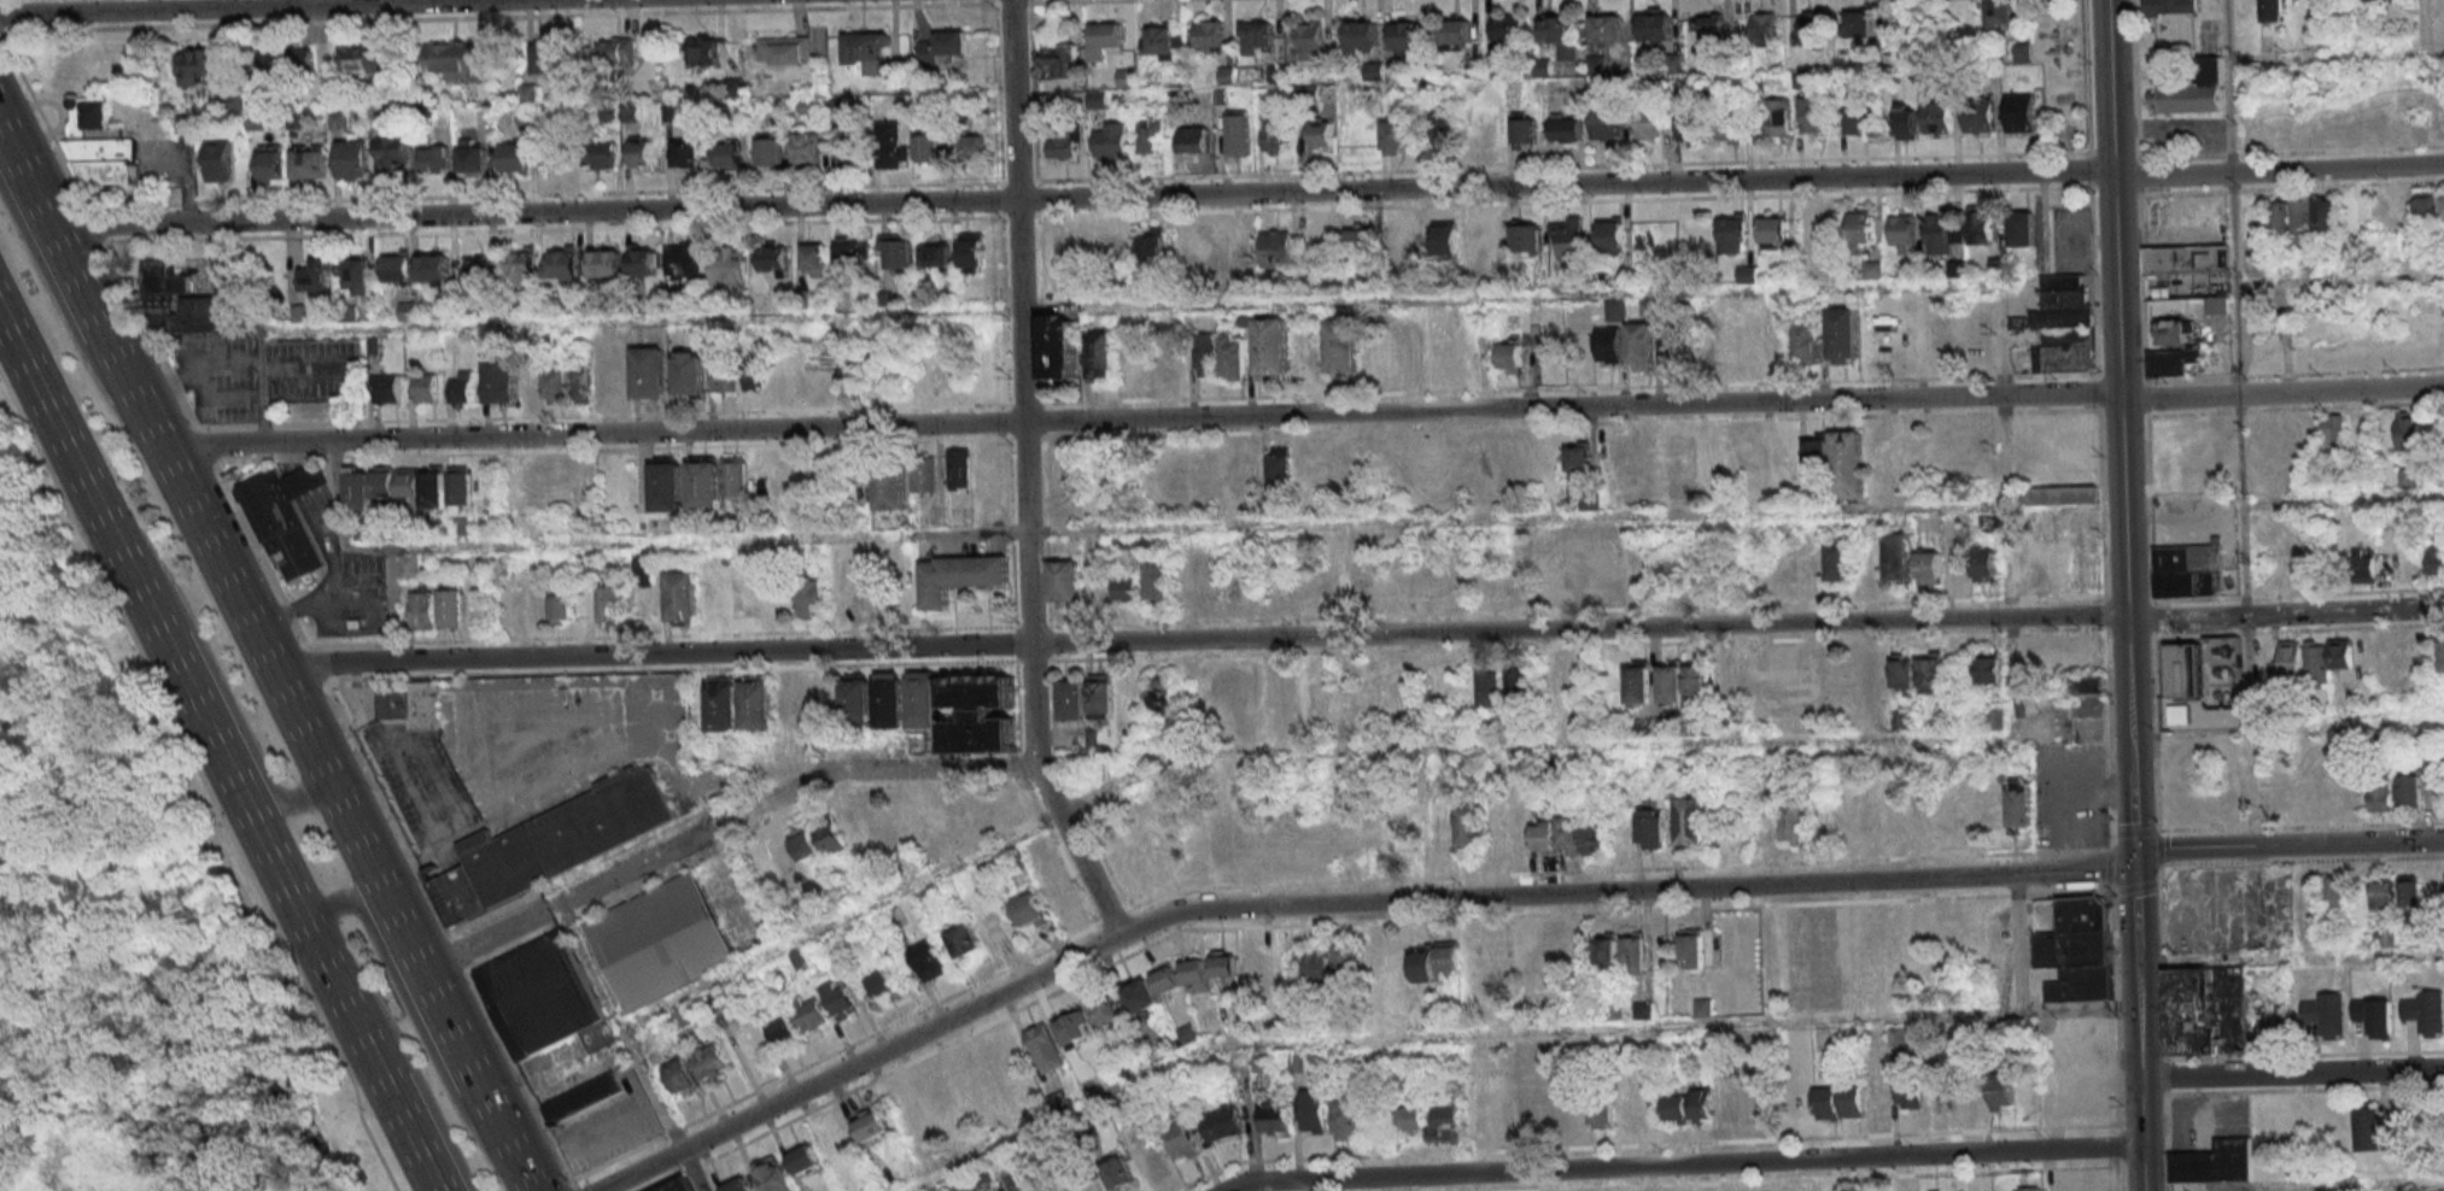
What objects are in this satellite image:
road: (238, 6)
building: (2171, 6)
building: (2270, 10)
building: (2000, 13)
building: (1707, 25)
building: (1859, 25)
building: (1508, 27)
building: (1606, 28)
building: (1655, 28)
building: (1811, 28)
building: (1765, 29)
building: (1456, 33)
building: (1557, 34)
building: (1106, 35)
building: (1404, 35)
building: (1209, 36)
building: (1256, 37)
building: (1362, 37)
road: (1, 40)
building: (1164, 40)
building: (1306, 41)
building: (865, 46)
building: (943, 48)
building: (783, 49)
building: (616, 51)
building: (703, 53)
building: (2022, 53)
building: (312, 55)
road: (2335, 55)
building: (546, 57)
building: (362, 58)
building: (454, 61)
building: (1058, 61)
building: (197, 65)
building: (1226, 75)
building: (2193, 92)
building: (812, 105)
building: (2019, 112)
building: (1816, 115)
building: (1980, 116)
building: (1937, 117)
building: (1779, 119)
building: (1907, 121)
building: (1857, 122)
building: (1647, 124)
building: (1607, 125)
building: (1442, 127)
building: (1727, 128)
building: (1690, 129)
building: (1481, 130)
building: (1567, 130)
building: (1525, 131)
building: (1235, 133)
building: (1274, 135)
building: (1321, 135)
building: (1147, 136)
building: (1396, 136)
building: (1358, 137)
building: (1193, 140)
building: (1111, 142)
building: (100, 146)
building: (890, 146)
building: (928, 146)
building: (1063, 146)
building: (971, 147)
building: (806, 148)
building: (770, 152)
building: (688, 153)
building: (850, 153)
building: (597, 154)
building: (643, 154)
building: (726, 154)
building: (392, 156)
building: (433, 156)
building: (475, 156)
building: (516, 156)
building: (352, 158)
building: (220, 160)
building: (310, 162)
building: (273, 164)
road: (2278, 169)
road: (1081, 195)
building: (2427, 206)
building: (2443, 207)
building: (2327, 215)
building: (2292, 219)
building: (1860, 224)
building: (1981, 224)
building: (1813, 225)
building: (1733, 229)
building: (2022, 229)
building: (1772, 231)
road: (99, 233)
building: (1901, 233)
building: (1945, 233)
building: (1612, 234)
building: (1361, 236)
building: (1567, 237)
building: (1323, 239)
building: (1405, 239)
building: (1527, 239)
building: (1486, 240)
building: (1445, 241)
building: (1194, 244)
building: (1277, 244)
building: (1111, 246)
building: (1151, 246)
building: (1239, 246)
building: (972, 252)
building: (899, 256)
building: (935, 256)
building: (849, 258)
building: (813, 259)
building: (686, 260)
building: (772, 260)
building: (643, 262)
building: (607, 263)
building: (2188, 264)
building: (562, 265)
building: (521, 266)
building: (396, 268)
building: (435, 268)
building: (730, 268)
building: (474, 272)
building: (356, 274)
building: (316, 275)
road: (2340, 281)
road: (245, 288)
building: (186, 300)
building: (2211, 305)
road: (1125, 307)
building: (1615, 310)
road: (68, 325)
building: (2063, 325)
building: (2173, 332)
building: (1843, 336)
building: (1674, 342)
building: (1743, 342)
building: (1807, 342)
building: (1608, 344)
building: (1059, 346)
building: (1641, 346)
building: (1341, 347)
building: (1270, 348)
building: (1100, 354)
building: (1204, 354)
building: (1234, 356)
building: (1379, 358)
building: (1510, 358)
building: (1309, 359)
building: (2175, 363)
building: (1135, 366)
road: (194, 369)
building: (647, 372)
building: (686, 372)
building: (609, 374)
building: (499, 377)
building: (724, 377)
building: (754, 379)
road: (2120, 385)
building: (531, 386)
building: (554, 386)
building: (423, 388)
building: (462, 388)
building: (388, 389)
road: (2281, 391)
road: (259, 401)
road: (1226, 417)
road: (2238, 424)
building: (2408, 432)
building: (2334, 434)
road: (246, 442)
road: (206, 445)
building: (1817, 452)
building: (1578, 456)
building: (1718, 459)
building: (1613, 462)
building: (1848, 462)
building: (1277, 465)
building: (1680, 467)
building: (958, 468)
building: (923, 474)
road: (1025, 477)
building: (2409, 479)
building: (397, 482)
building: (665, 486)
building: (702, 486)
building: (446, 487)
building: (358, 488)
building: (889, 489)
building: (2064, 494)
road: (2343, 495)
building: (1620, 498)
building: (1589, 499)
park: (23, 500)
road: (2007, 509)
building: (282, 516)
road: (1142, 532)
road: (43, 553)
building: (1898, 556)
building: (1838, 558)
building: (1957, 558)
building: (2436, 558)
building: (1986, 564)
building: (1813, 565)
building: (1929, 567)
building: (409, 568)
building: (1574, 569)
building: (2364, 569)
building: (2188, 570)
building: (2060, 571)
building: (958, 576)
building: (1608, 576)
building: (1159, 580)
building: (1364, 580)
building: (1064, 582)
building: (1128, 585)
building: (684, 595)
building: (867, 595)
road: (2150, 595)
building: (809, 599)
building: (612, 605)
building: (460, 608)
building: (422, 609)
building: (562, 609)
road: (2285, 611)
road: (163, 640)
road: (1198, 640)
road: (265, 657)
building: (2442, 657)
building: (2291, 658)
building: (2326, 658)
building: (1989, 668)
building: (1904, 670)
building: (2185, 670)
building: (1930, 671)
building: (1784, 673)
road: (216, 677)
building: (1873, 679)
building: (1520, 681)
building: (1671, 681)
building: (1638, 682)
building: (2091, 685)
building: (1221, 686)
building: (1697, 686)
building: (1277, 687)
building: (1491, 687)
building: (1253, 691)
building: (1162, 693)
building: (923, 699)
building: (1086, 699)
building: (890, 700)
building: (411, 703)
building: (807, 703)
building: (723, 705)
building: (980, 714)
building: (1994, 720)
road: (2345, 722)
road: (1285, 747)
building: (2428, 762)
road: (876, 769)
road: (204, 781)
building: (2409, 792)
building: (2304, 797)
building: (2331, 797)
building: (2380, 797)
building: (2021, 804)
building: (1919, 810)
road: (2132, 814)
building: (1691, 819)
building: (1895, 821)
building: (850, 822)
building: (1795, 823)
building: (1471, 825)
road: (397, 826)
building: (881, 827)
building: (1445, 827)
building: (1653, 828)
building: (1396, 829)
building: (1521, 831)
building: (1771, 831)
building: (830, 835)
building: (1222, 835)
building: (1258, 838)
building: (1596, 838)
building: (1197, 845)
building: (549, 846)
road: (2288, 849)
building: (793, 853)
building: (1154, 855)
traffic signals: (2134, 857)
building: (1130, 866)
building: (976, 874)
building: (2334, 890)
building: (2410, 890)
building: (2382, 894)
building: (1062, 897)
road: (557, 903)
road: (1381, 903)
road: (2135, 903)
building: (1029, 911)
building: (990, 925)
park: (130, 929)
building: (963, 939)
building: (656, 941)
building: (1847, 941)
building: (1695, 946)
building: (890, 950)
building: (1637, 950)
building: (1607, 951)
building: (2078, 951)
building: (1449, 956)
road: (2290, 957)
building: (929, 961)
building: (1498, 962)
building: (1224, 963)
building: (1349, 963)
building: (1375, 963)
building: (1423, 963)
building: (1317, 964)
building: (1251, 967)
building: (1195, 974)
building: (1167, 980)
building: (883, 982)
building: (1140, 995)
road: (402, 996)
building: (544, 998)
building: (842, 998)
road: (2019, 999)
building: (2208, 1008)
building: (1647, 1009)
building: (2426, 1011)
building: (1106, 1013)
building: (809, 1014)
building: (2327, 1014)
building: (2374, 1016)
building: (1074, 1028)
building: (784, 1029)
road: (1449, 1033)
building: (749, 1040)
road: (630, 1046)
building: (1045, 1049)
building: (1005, 1057)
building: (701, 1067)
road: (2139, 1069)
road: (413, 1072)
road: (2292, 1074)
road: (381, 1079)
building: (2002, 1091)
building: (939, 1093)
building: (1908, 1095)
building: (1937, 1095)
building: (584, 1099)
building: (1877, 1099)
building: (1852, 1101)
building: (1828, 1103)
building: (1703, 1104)
building: (1760, 1104)
building: (1727, 1105)
building: (1678, 1108)
building: (1314, 1110)
building: (1629, 1110)
building: (1503, 1113)
building: (1527, 1114)
building: (1579, 1114)
building: (1603, 1115)
building: (1273, 1116)
building: (1449, 1116)
building: (1347, 1119)
building: (1413, 1119)
building: (1222, 1122)
building: (870, 1125)
building: (2370, 1127)
building: (1179, 1139)
building: (806, 1158)
building: (2215, 1160)
building: (1151, 1162)
road: (1684, 1164)
road: (638, 1171)
building: (773, 1174)
building: (1118, 1174)
road: (1828, 1179)
building: (738, 1184)
building: (683, 1185)
building: (963, 1185)
road: (2293, 1186)
road: (1, 1189)
building: (2030, 1189)

